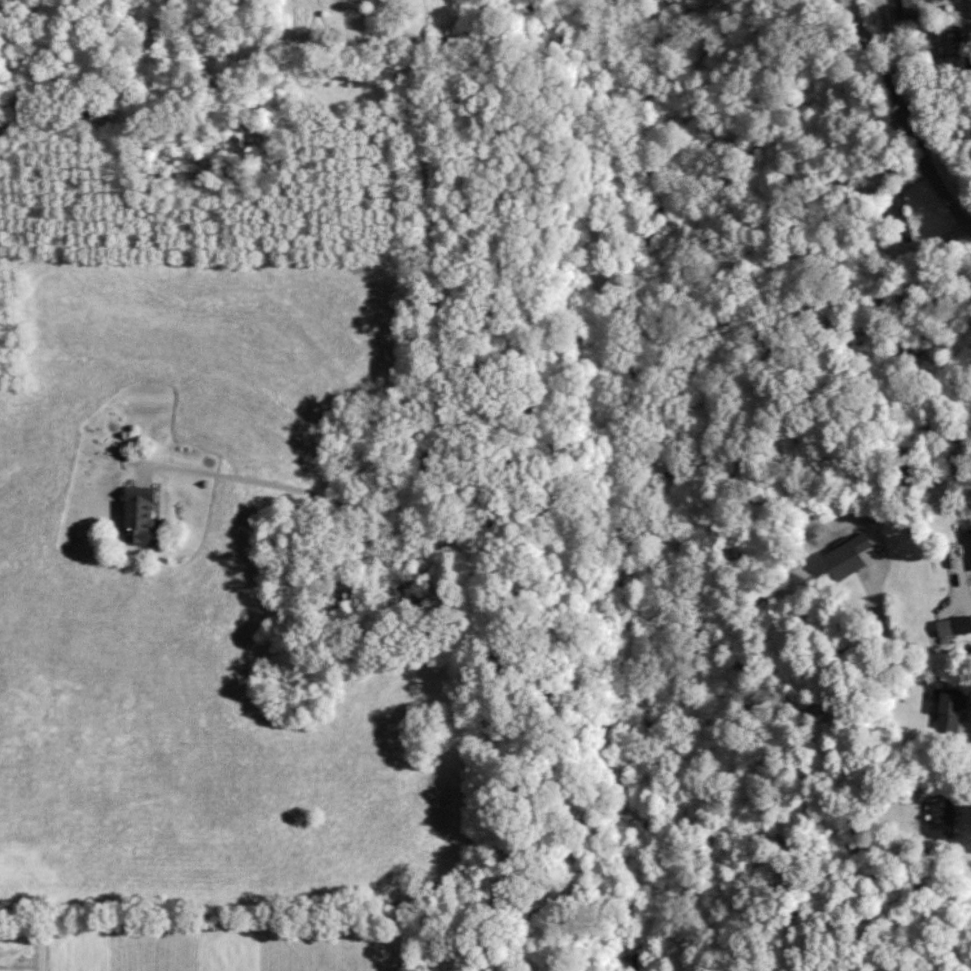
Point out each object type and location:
building: (905, 9)
road: (431, 42)
road: (917, 49)
road: (901, 114)
road: (442, 376)
building: (142, 516)
building: (968, 540)
building: (849, 556)
building: (954, 626)
road: (898, 648)
building: (951, 710)
building: (942, 818)

